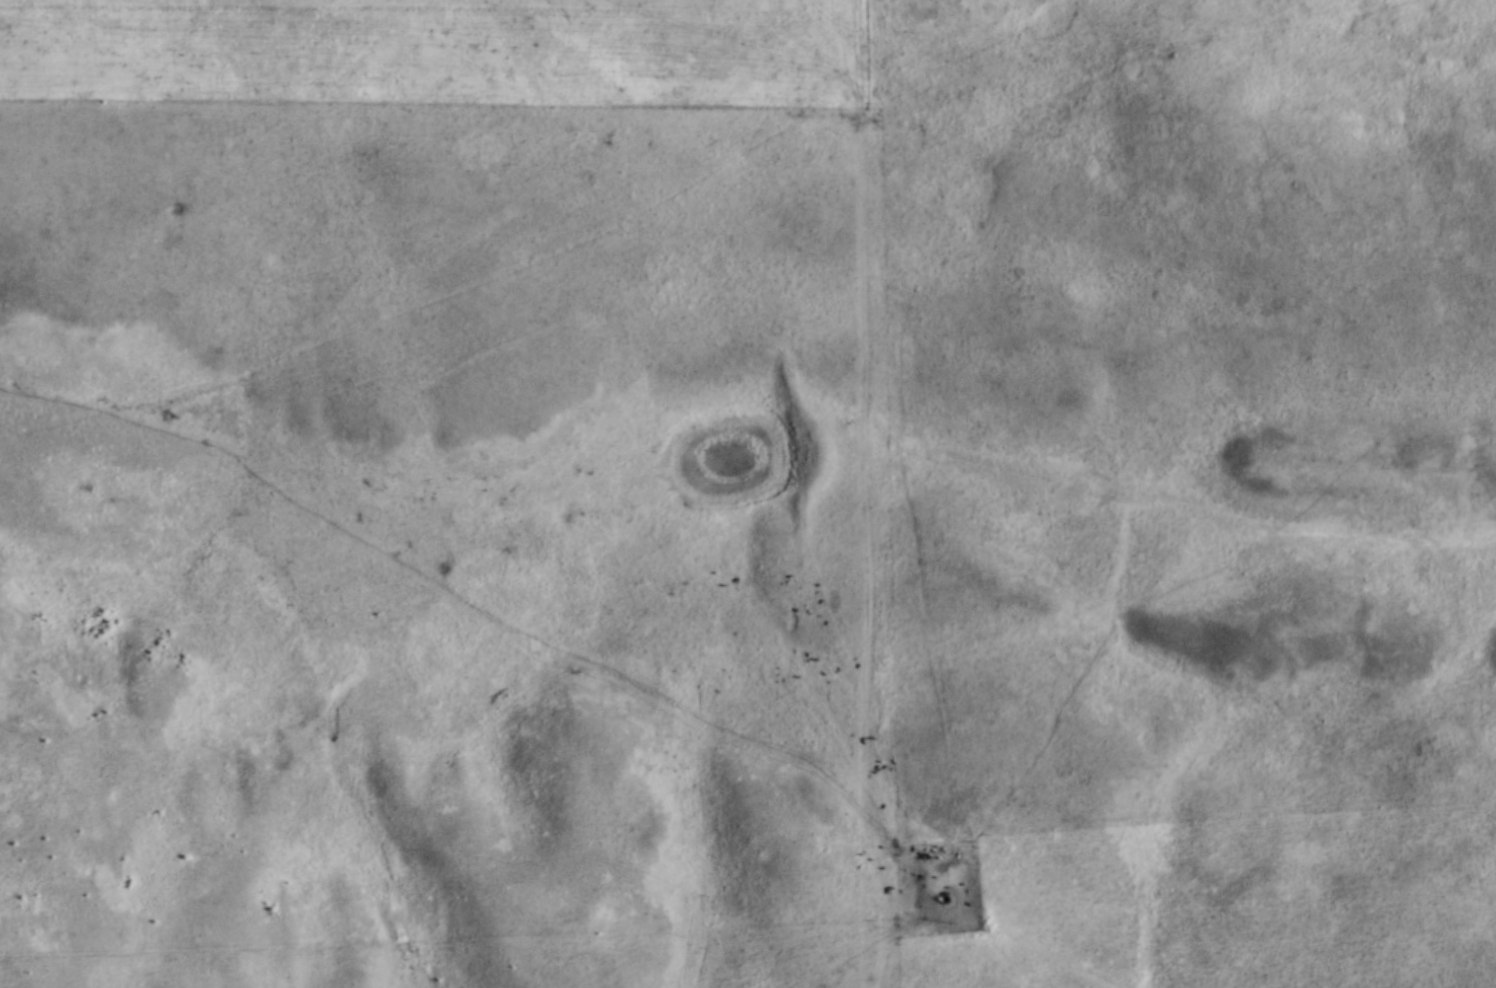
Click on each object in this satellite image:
building: (115, 6)
building: (426, 19)
building: (711, 22)
road: (865, 494)

